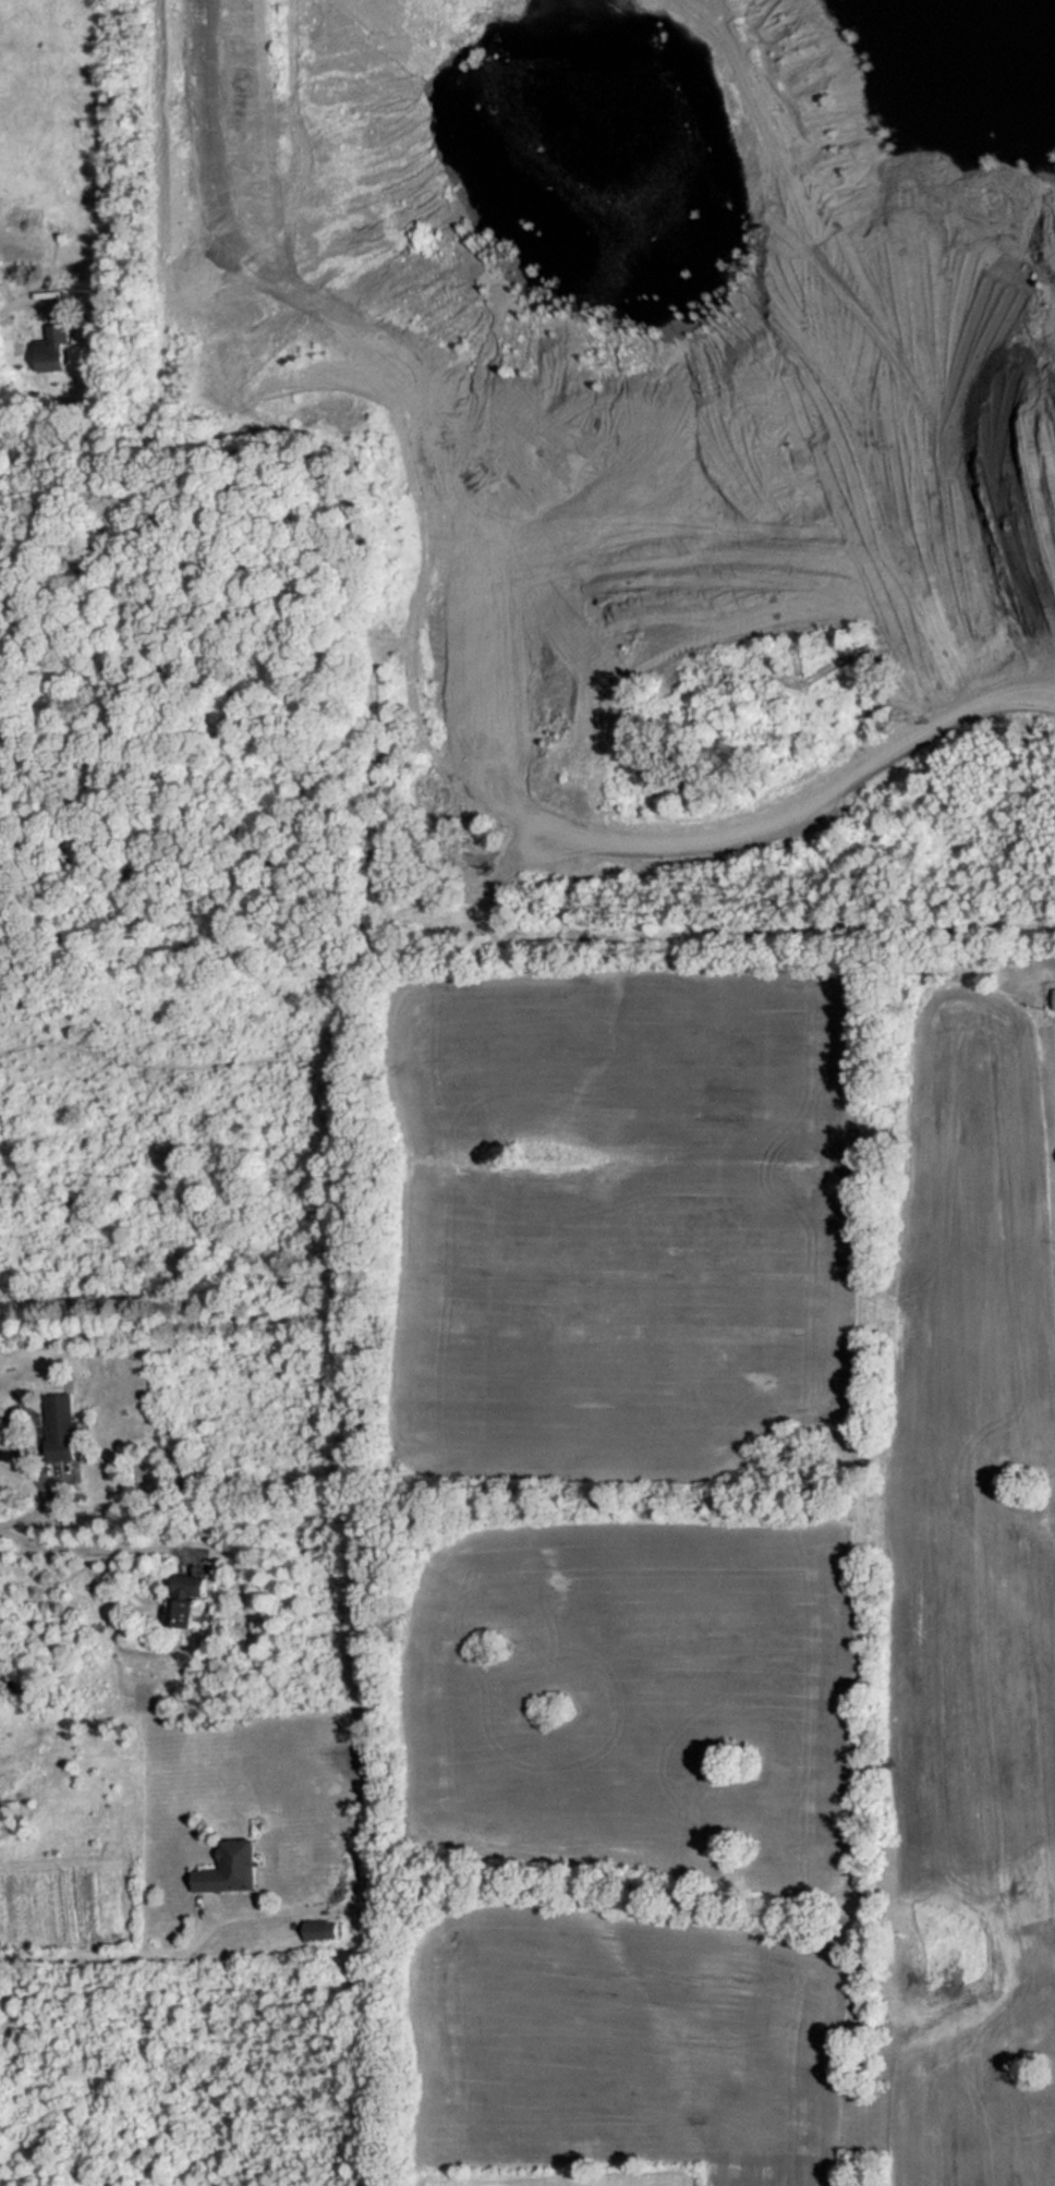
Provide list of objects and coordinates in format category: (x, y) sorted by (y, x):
road: (14, 306)
building: (49, 348)
quarry: (655, 437)
building: (1054, 998)
crop: (620, 1234)
building: (62, 1428)
road: (83, 1552)
crop: (975, 1557)
building: (191, 1604)
crop: (634, 1699)
building: (228, 1868)
building: (316, 1930)
road: (106, 1956)
crop: (624, 2048)
crop: (572, 2175)

